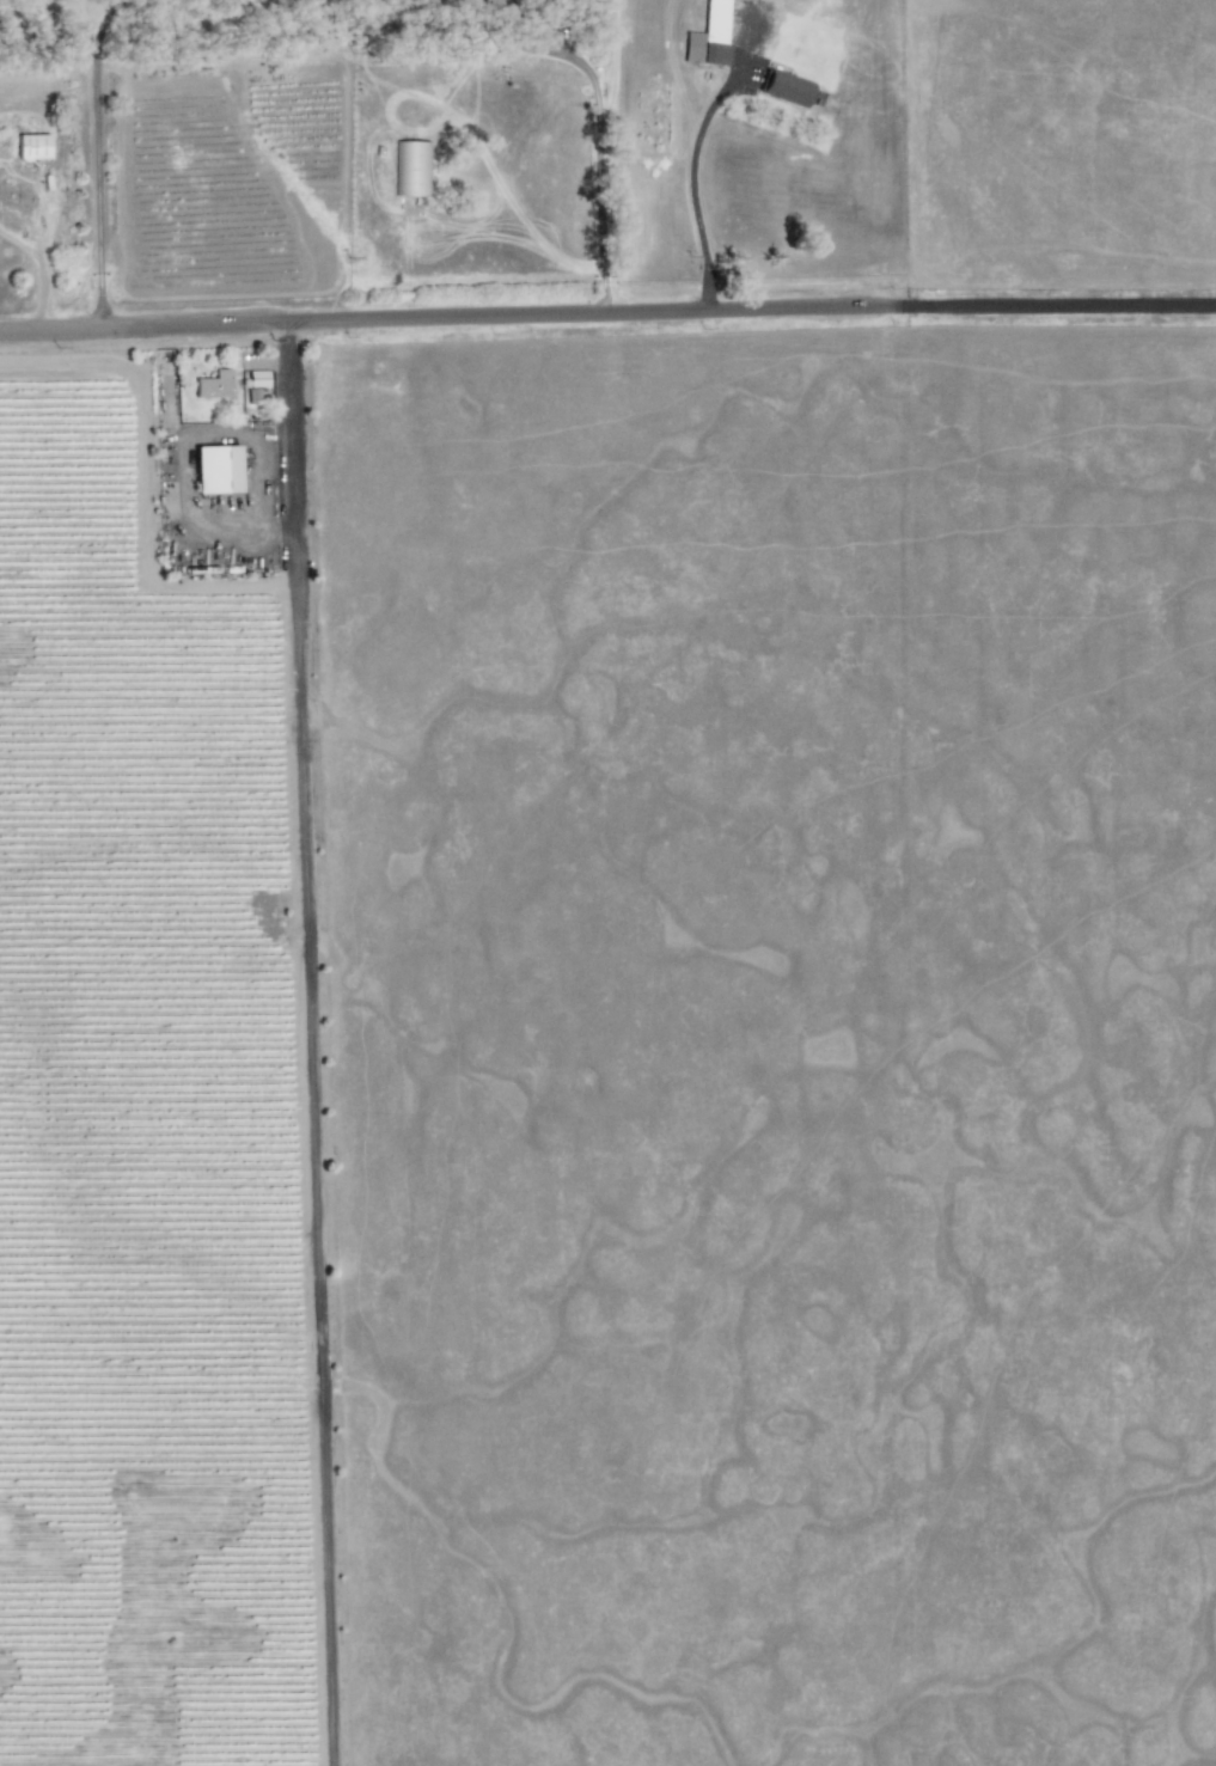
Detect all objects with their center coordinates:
building: (709, 37)
building: (787, 87)
building: (32, 146)
road: (97, 160)
road: (599, 160)
road: (692, 185)
road: (607, 313)
building: (258, 378)
building: (214, 385)
building: (216, 469)

